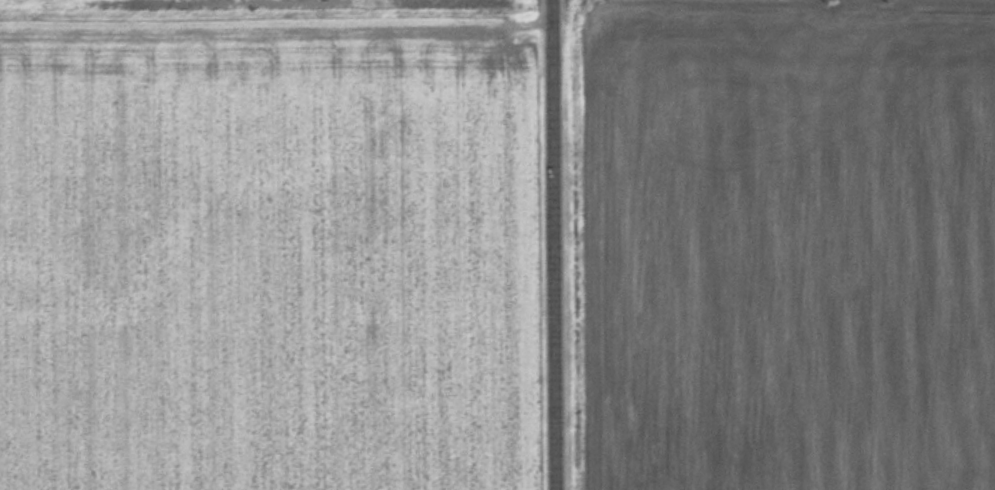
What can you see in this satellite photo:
power tower: (831, 1)
road: (564, 244)

